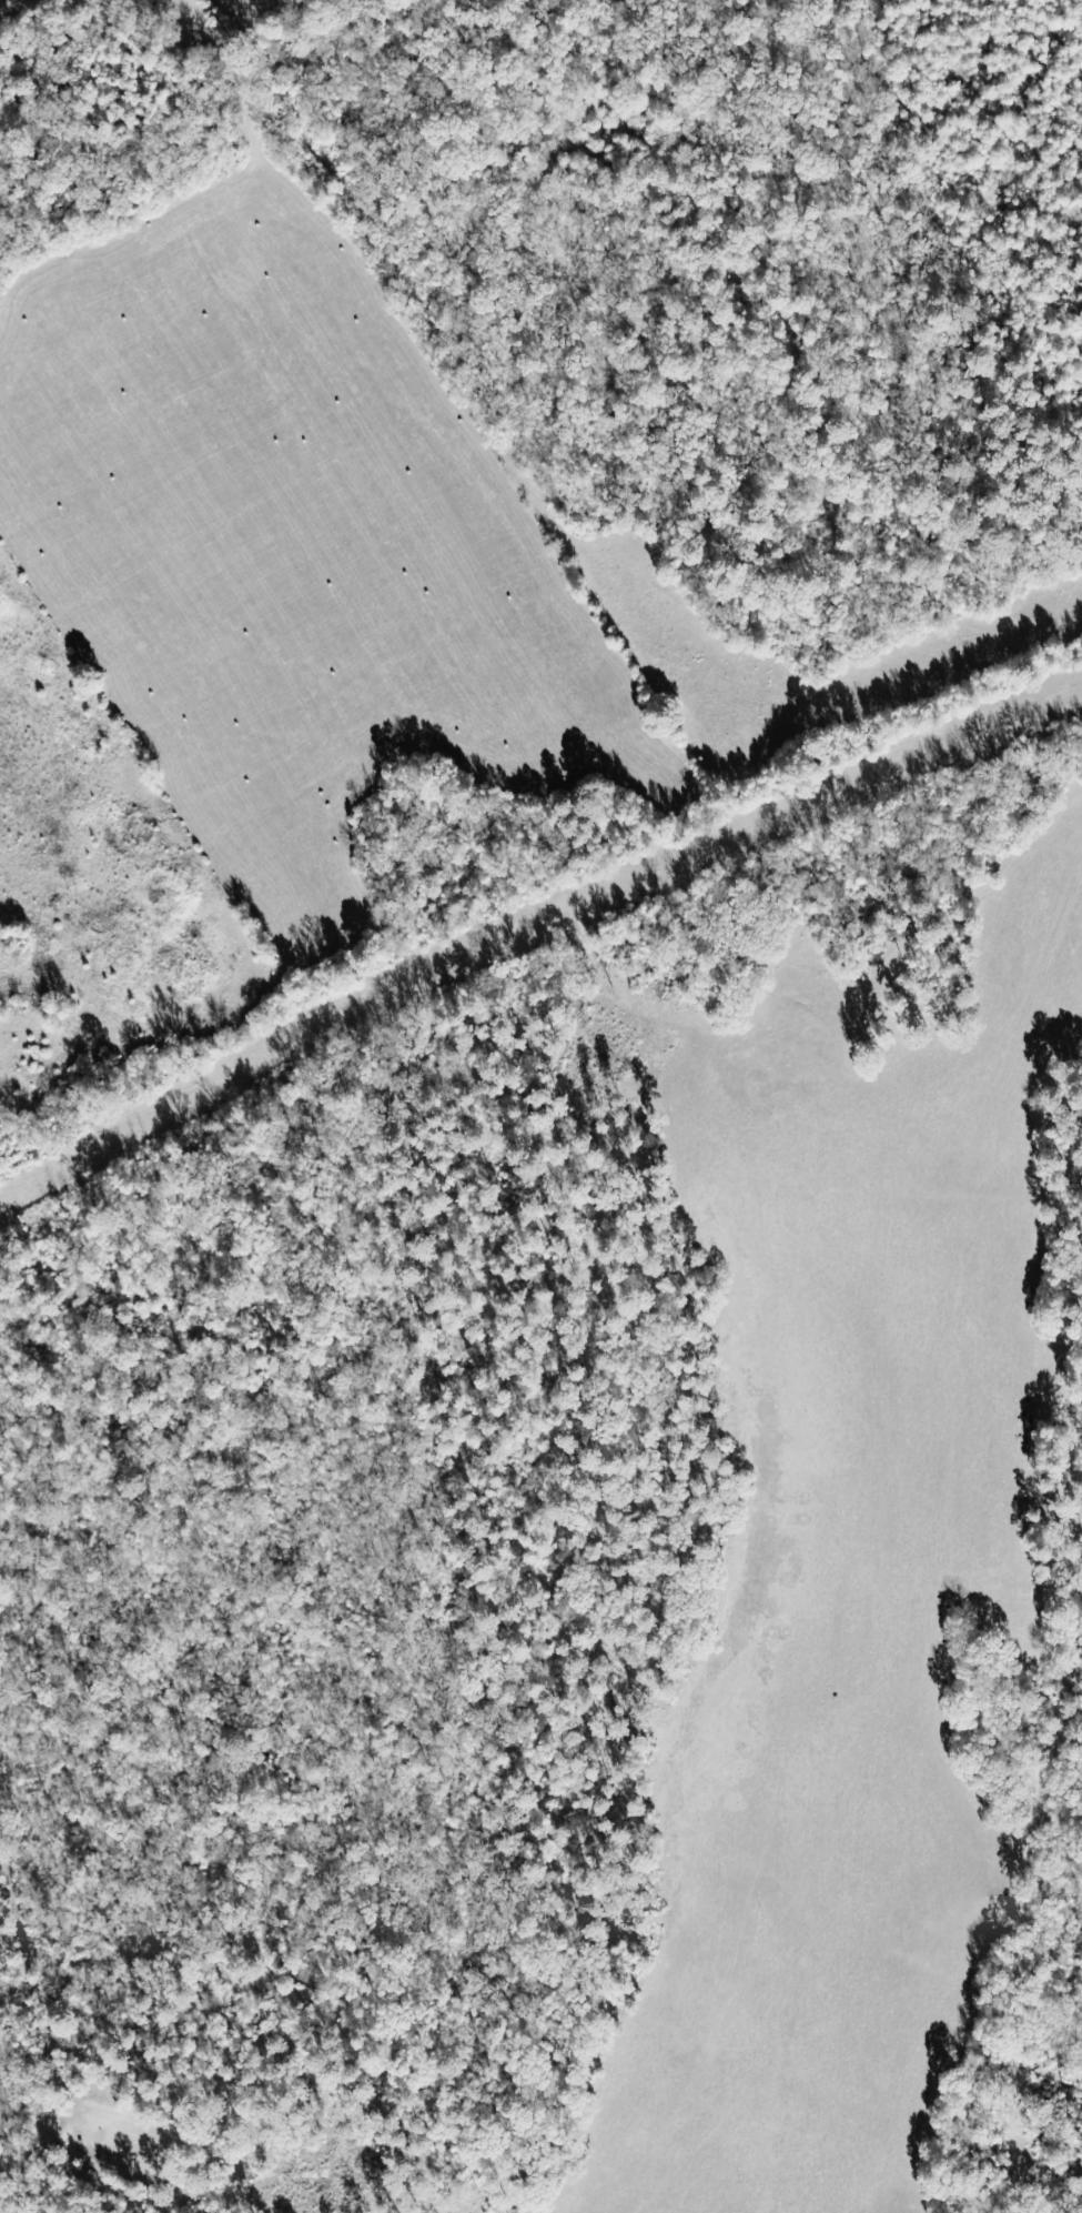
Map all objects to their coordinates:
road: (55, 2111)

